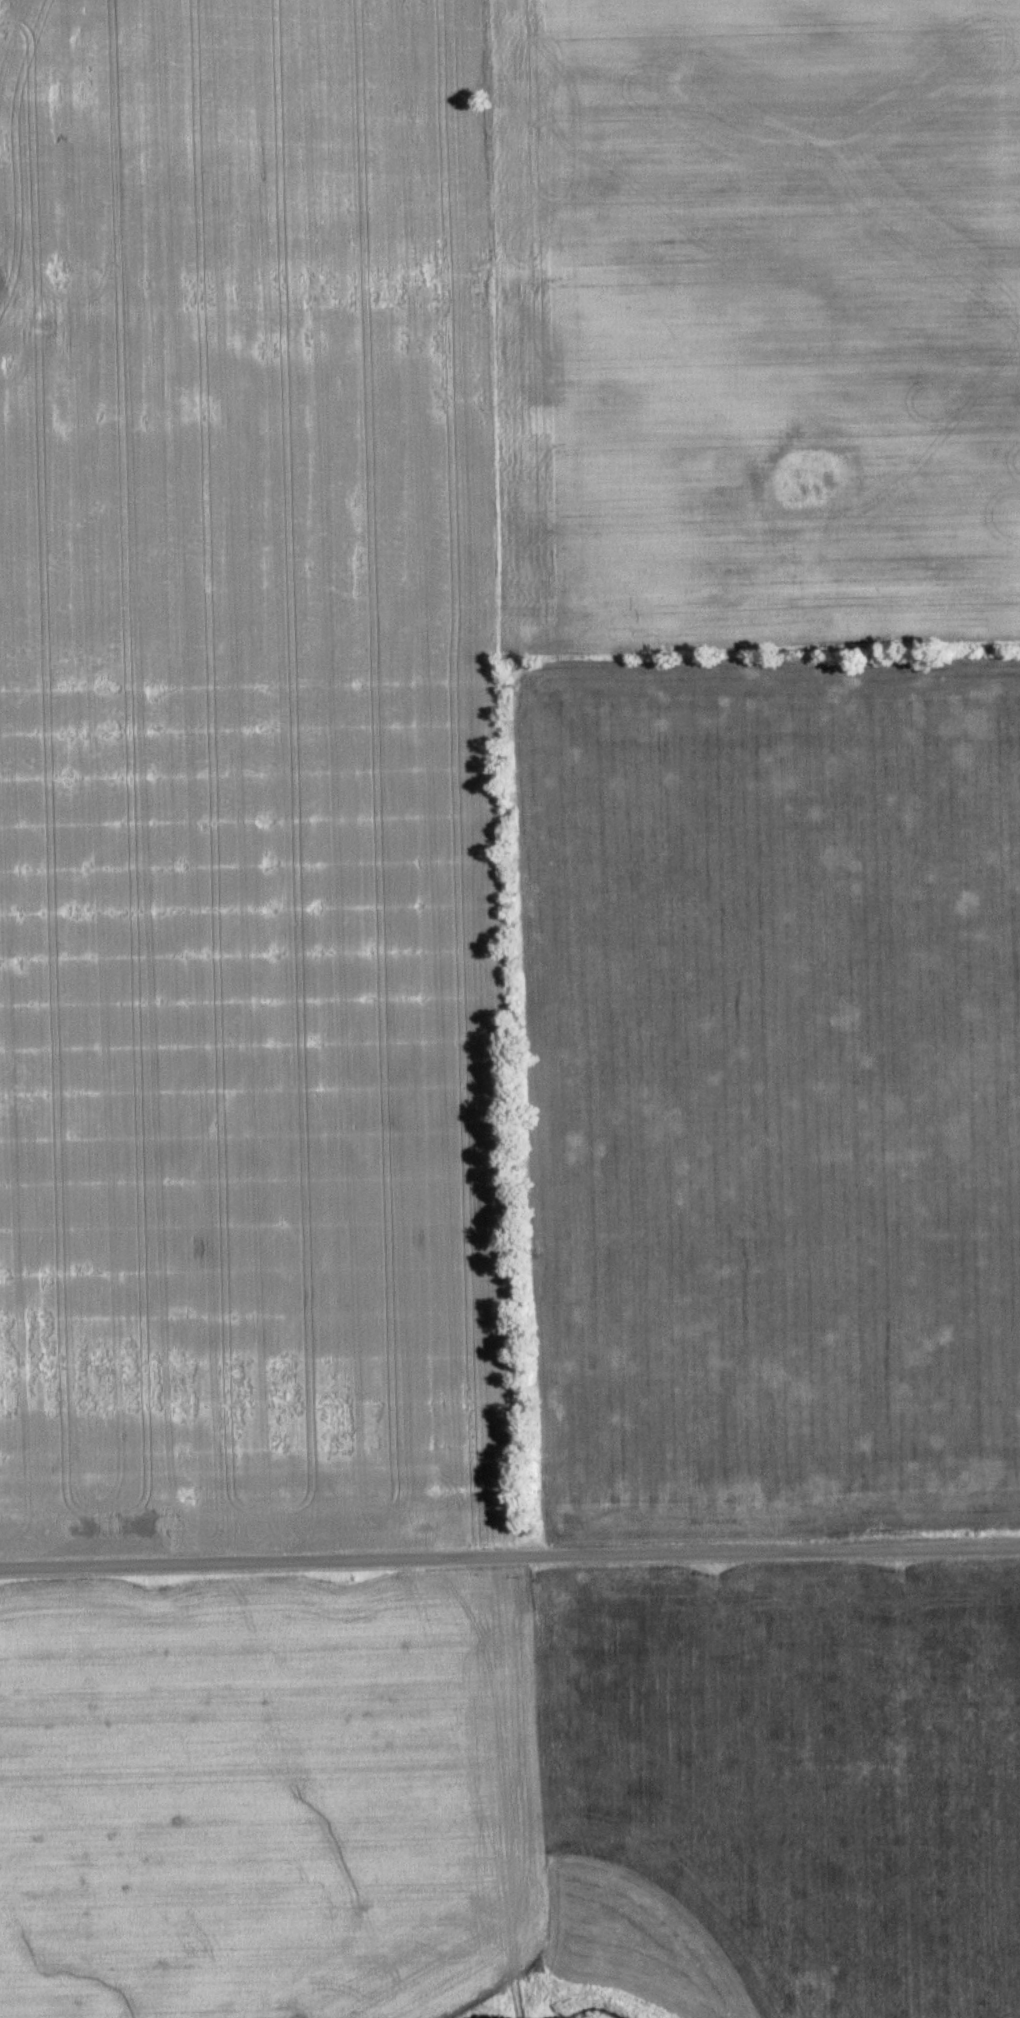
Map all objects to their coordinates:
road: (510, 1557)

